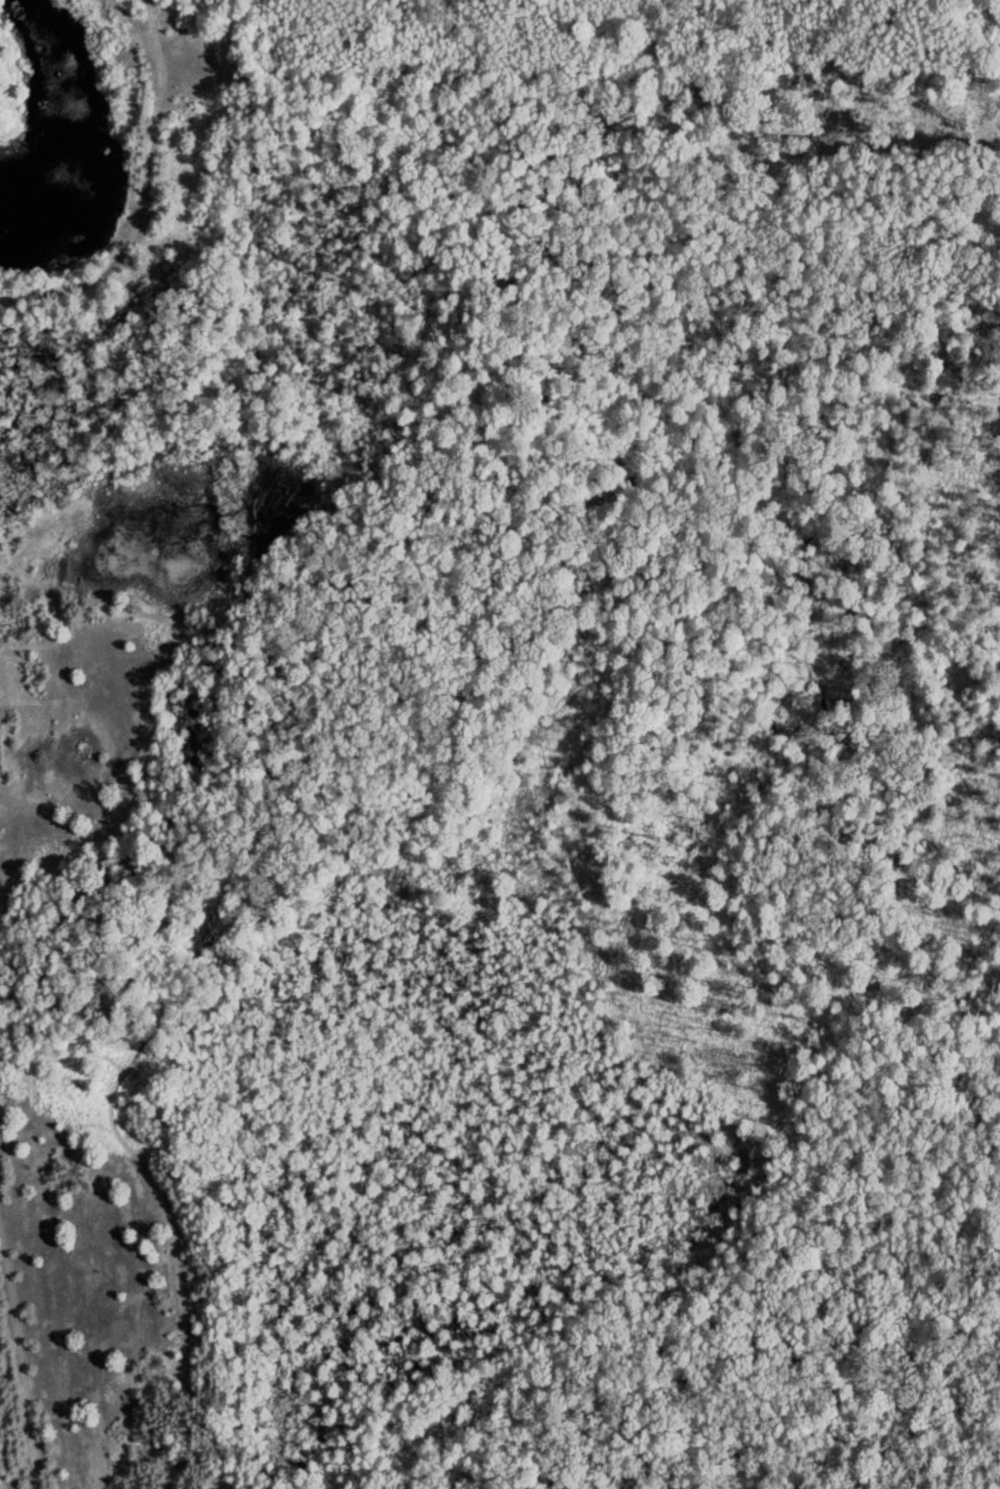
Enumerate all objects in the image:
road: (832, 119)
road: (239, 744)

